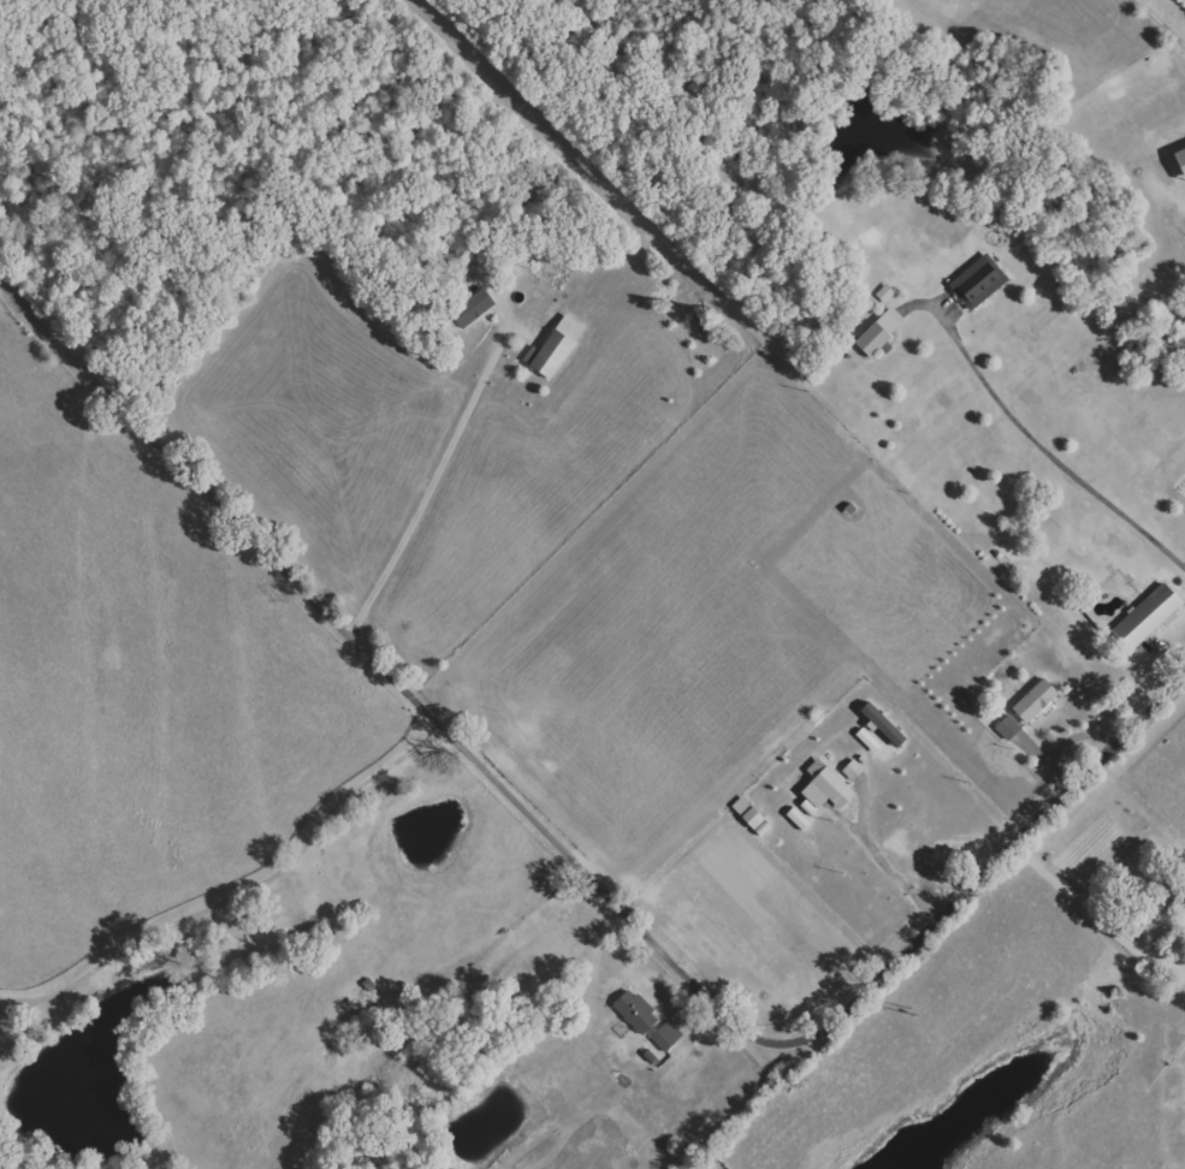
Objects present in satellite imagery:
road: (1165, 19)
building: (1180, 160)
building: (979, 281)
building: (887, 293)
building: (473, 308)
building: (881, 332)
building: (557, 348)
road: (455, 438)
road: (1054, 455)
building: (1147, 618)
building: (1036, 700)
building: (1009, 726)
building: (889, 730)
building: (853, 770)
building: (824, 789)
building: (798, 819)
road: (583, 862)
road: (885, 864)
road: (238, 891)
road: (1095, 915)
road: (17, 1008)
building: (635, 1011)
building: (666, 1037)

